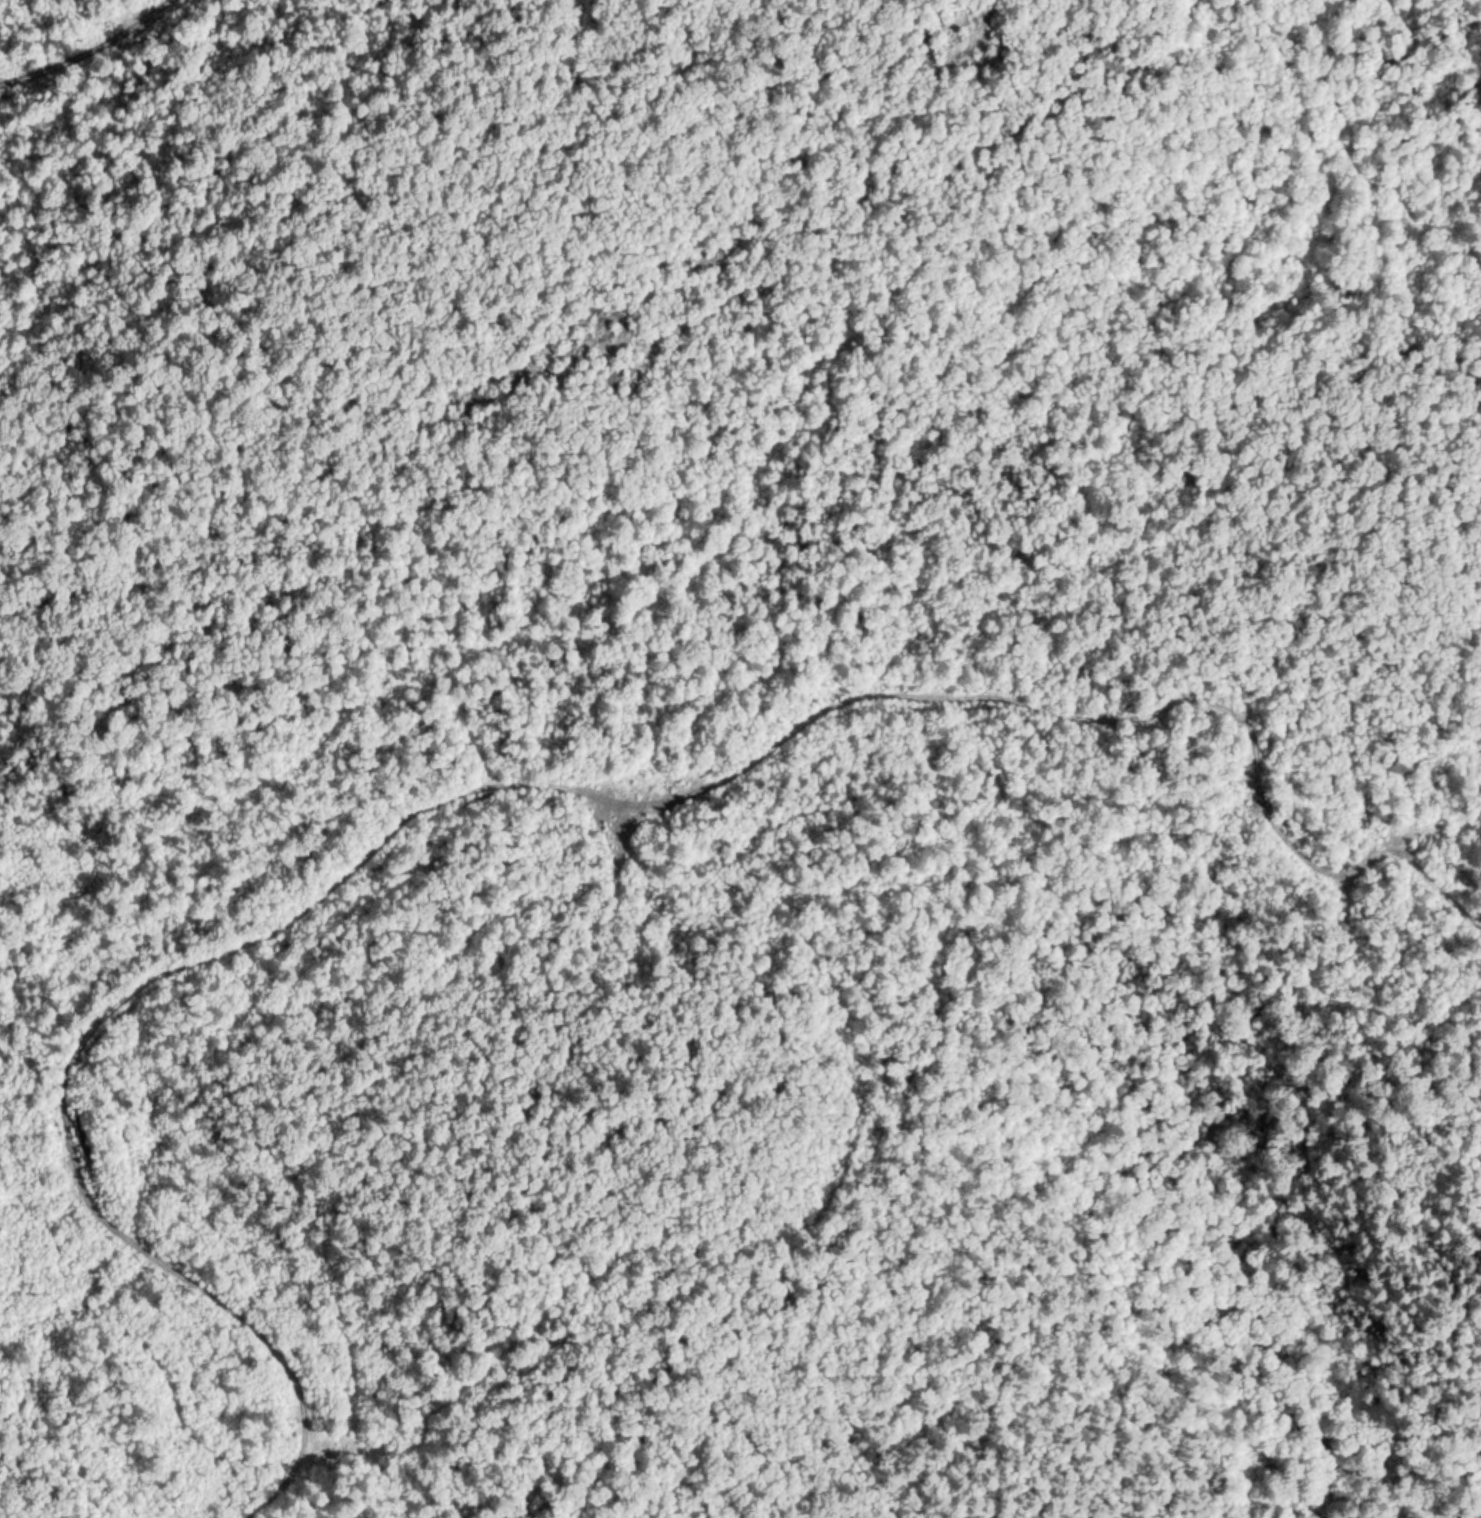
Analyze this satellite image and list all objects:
road: (92, 49)

